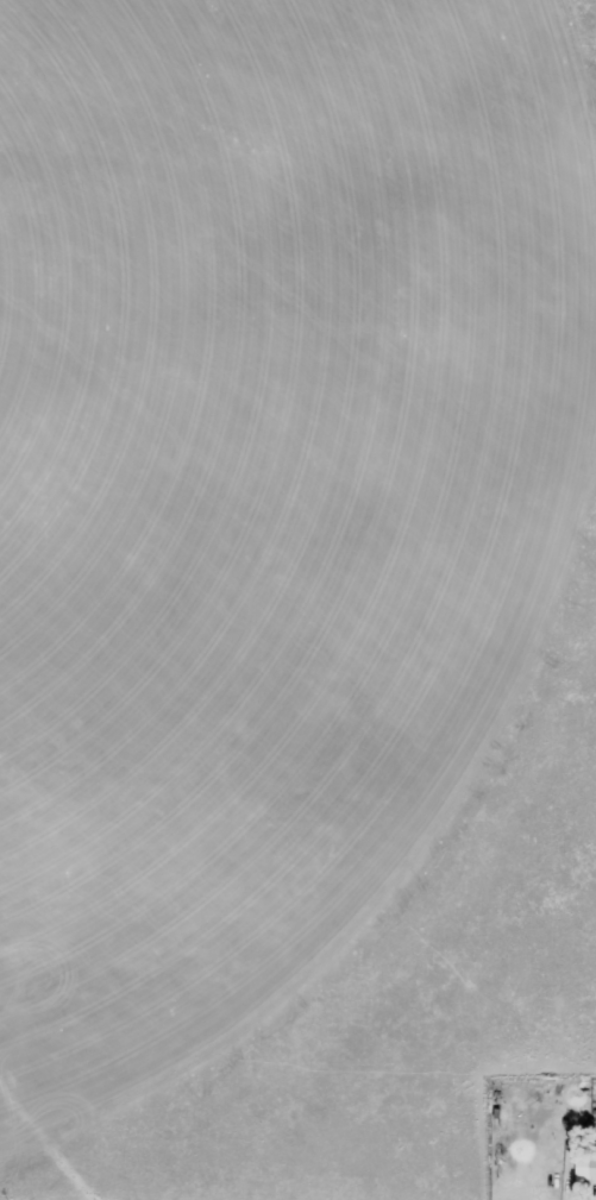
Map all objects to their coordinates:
building: (583, 1168)

